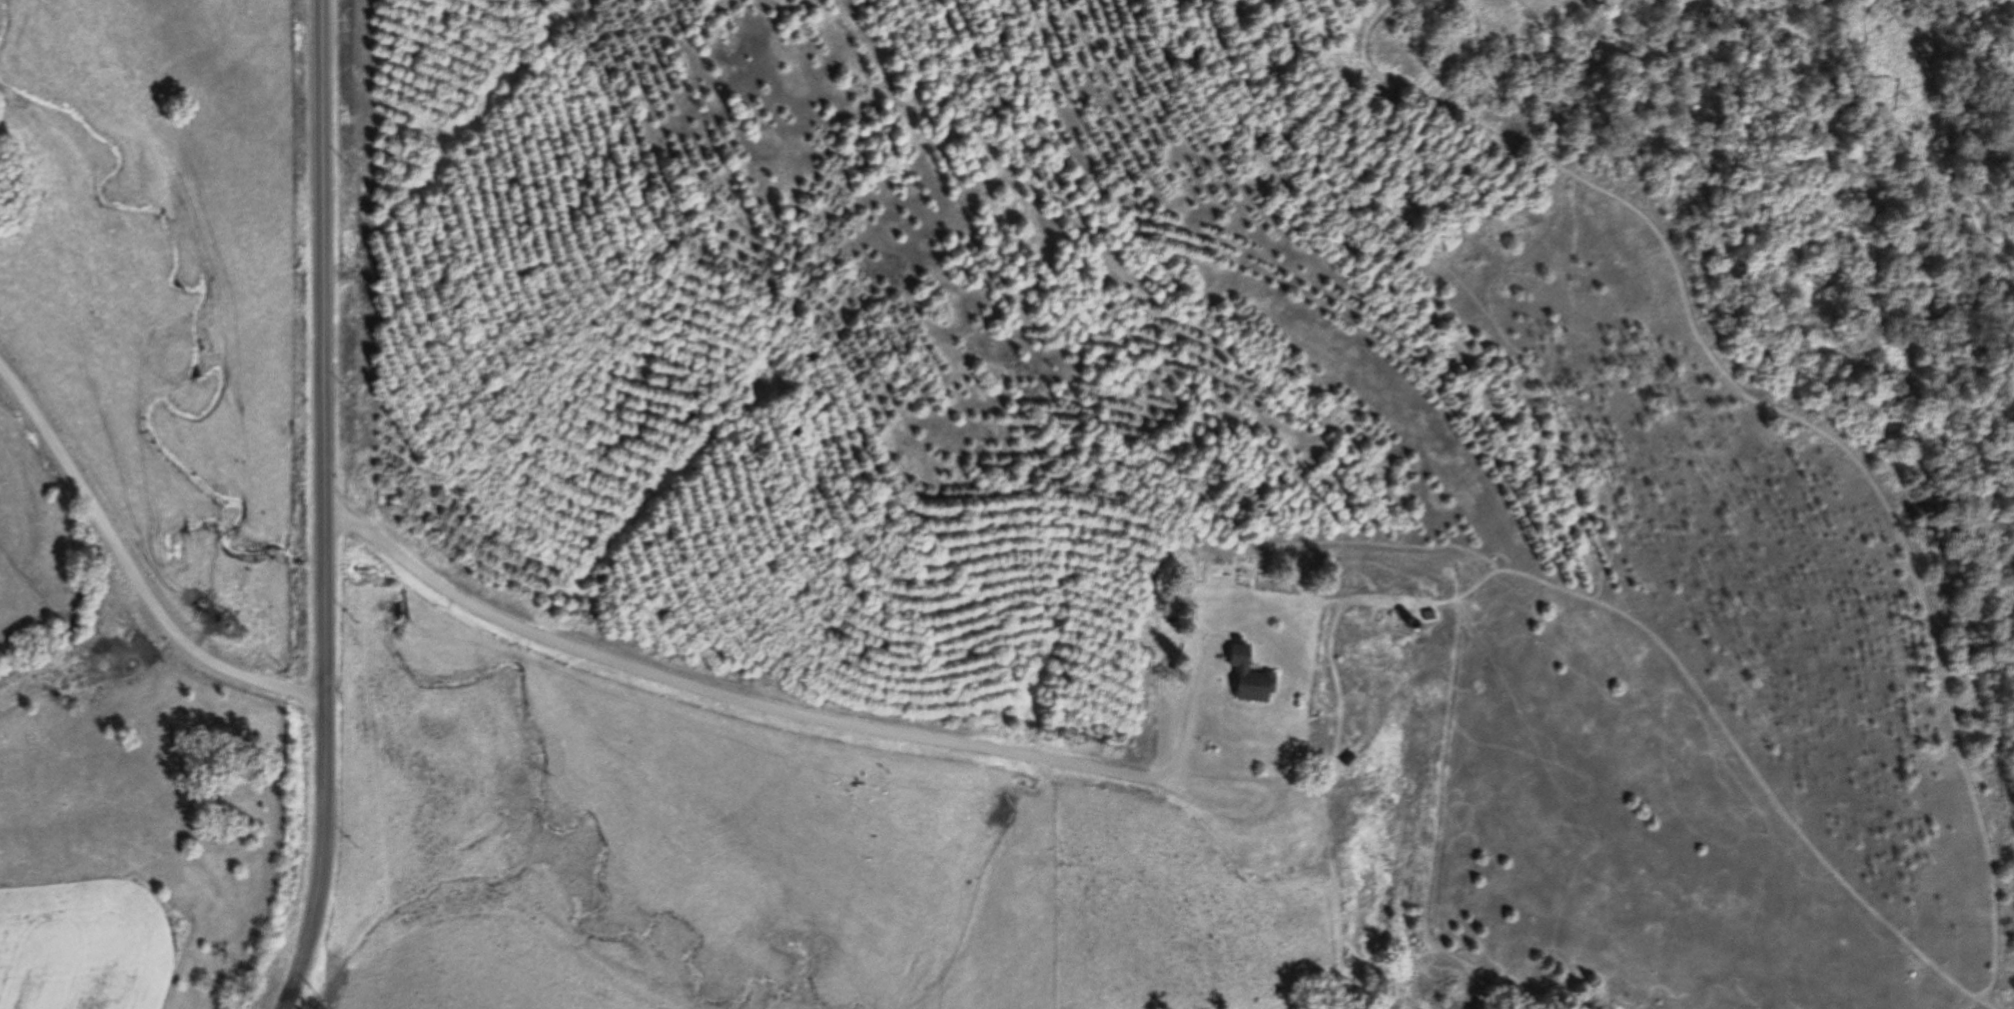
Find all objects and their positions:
road: (332, 507)
road: (131, 569)
building: (1249, 676)
road: (766, 704)

